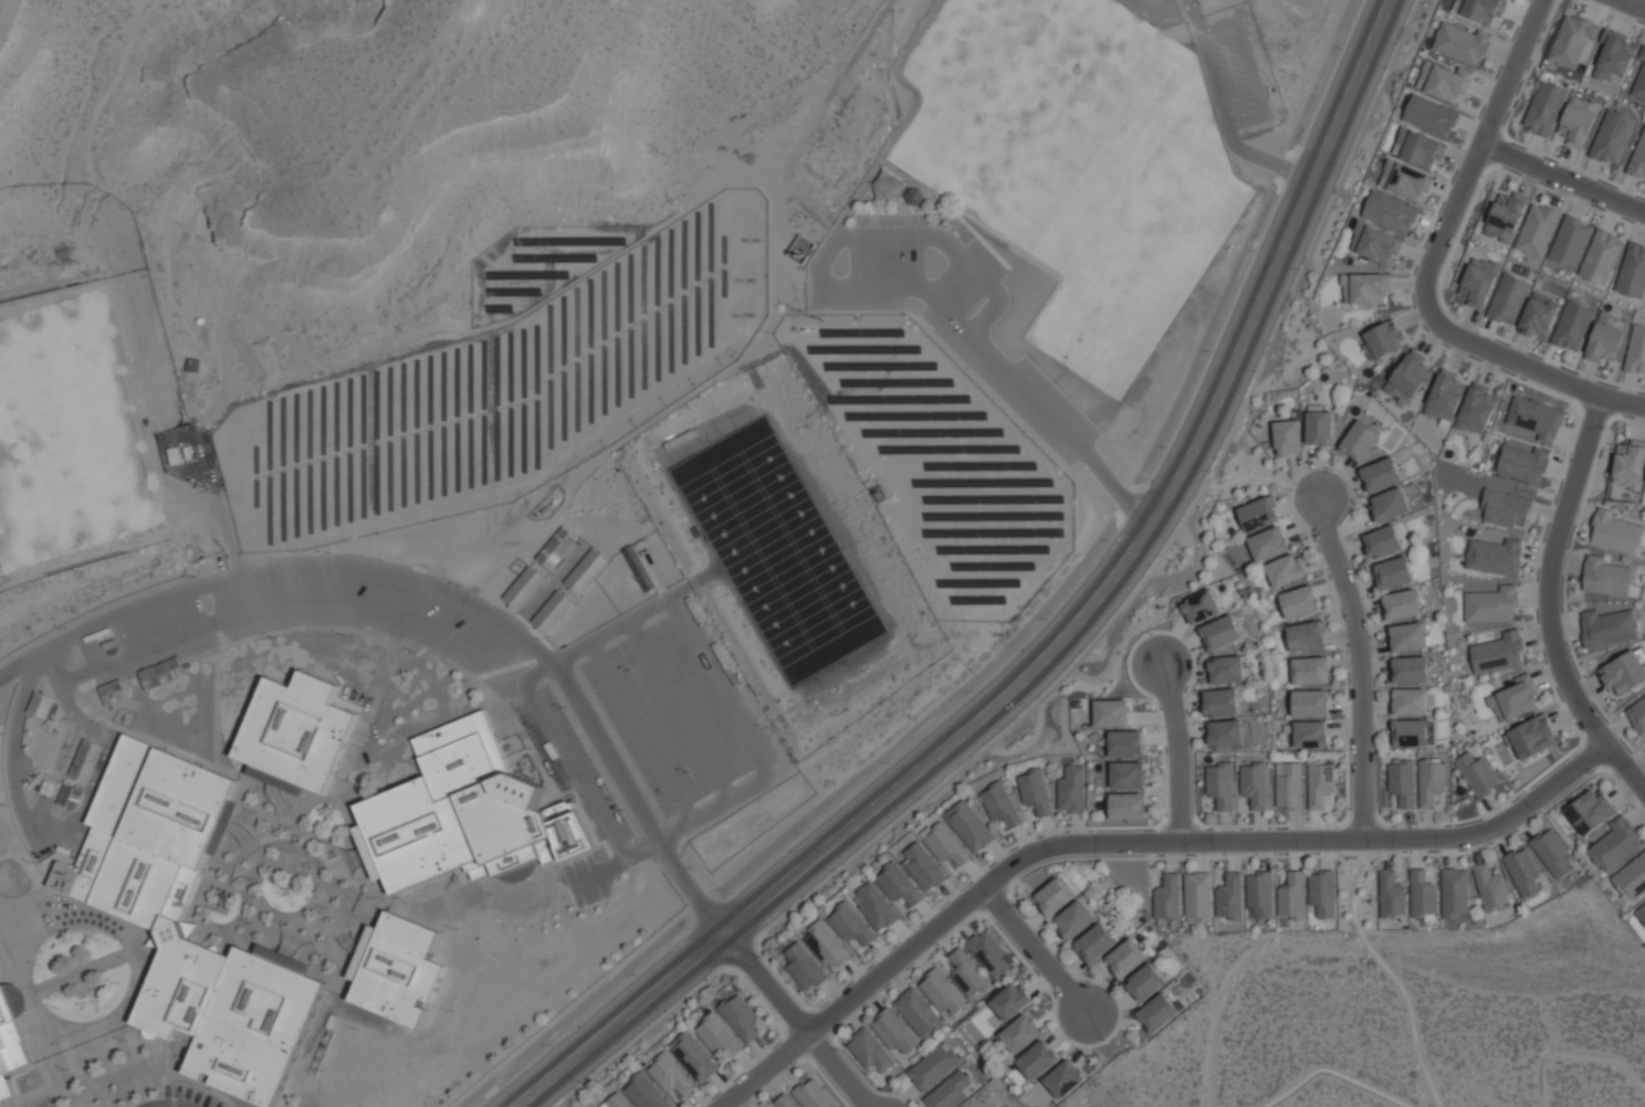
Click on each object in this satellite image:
road: (1636, 3)
building: (1482, 10)
building: (1571, 42)
building: (1460, 43)
building: (1613, 57)
parking lot: (1229, 73)
building: (1639, 78)
building: (1443, 81)
road: (1223, 104)
building: (1543, 108)
building: (1429, 116)
building: (1576, 122)
building: (1611, 137)
building: (1417, 148)
building: (1638, 157)
park: (1078, 164)
road: (1564, 179)
building: (1405, 180)
building: (884, 184)
building: (1389, 212)
building: (1506, 215)
building: (1537, 230)
building: (1570, 241)
road: (1442, 242)
building: (1374, 243)
building: (1600, 257)
solar farm: (537, 265)
building: (1632, 272)
building: (1478, 282)
road: (891, 288)
building: (1365, 288)
building: (1507, 298)
parking lot: (942, 305)
street lamp: (1415, 307)
building: (1539, 316)
building: (1571, 326)
building: (1384, 338)
building: (1604, 339)
building: (1635, 351)
building: (1408, 377)
solar farm: (499, 392)
building: (1445, 396)
road: (1623, 402)
building: (1477, 409)
building: (1536, 418)
street lamp: (1605, 426)
building: (1321, 428)
building: (1288, 436)
building: (1360, 441)
street lamp: (1167, 447)
solar farm: (935, 463)
building: (1524, 463)
building: (1630, 465)
street lamp: (1209, 472)
building: (1382, 474)
street lamp: (1291, 489)
building: (1391, 505)
building: (1507, 508)
building: (1259, 513)
building: (1616, 533)
street lamp: (1110, 540)
building: (1384, 541)
building: (1268, 544)
building: (555, 548)
park: (774, 549)
street lamp: (328, 551)
building: (1496, 556)
street lamp: (1151, 566)
building: (1287, 570)
building: (585, 571)
building: (1395, 572)
road: (1554, 573)
street lamp: (193, 577)
building: (1607, 577)
street lamp: (462, 584)
road: (432, 588)
building: (523, 588)
building: (1300, 601)
building: (1404, 604)
building: (1492, 604)
building: (1202, 607)
building: (552, 612)
road: (631, 616)
street lamp: (1048, 619)
street lamp: (710, 624)
street lamp: (64, 626)
building: (1609, 626)
building: (1220, 632)
street lamp: (1152, 633)
street lamp: (343, 634)
building: (1308, 635)
street lamp: (274, 636)
building: (1410, 636)
road: (1016, 640)
road: (1051, 641)
road: (1081, 644)
street lamp: (413, 652)
street lamp: (1082, 652)
building: (1499, 653)
street lamp: (1547, 663)
street lamp: (192, 664)
road: (1360, 665)
building: (1227, 668)
street lamp: (631, 670)
building: (1311, 670)
building: (1413, 670)
building: (1624, 672)
building: (161, 673)
street lamp: (465, 679)
street lamp: (128, 689)
building: (112, 692)
street lamp: (974, 692)
building: (1516, 698)
building: (1222, 702)
building: (1412, 702)
building: (1311, 703)
building: (40, 705)
street lamp: (565, 707)
road: (682, 710)
building: (1112, 713)
building: (1637, 715)
parking lot: (667, 718)
street lamp: (103, 723)
street lamp: (768, 727)
street lamp: (1005, 729)
road: (642, 731)
building: (1413, 732)
street lamp: (2, 734)
building: (295, 734)
building: (1226, 734)
building: (1311, 734)
building: (1533, 736)
building: (1127, 744)
building: (55, 747)
road: (1178, 752)
road: (566, 759)
building: (85, 761)
street lamp: (890, 762)
road: (1626, 767)
street lamp: (1592, 771)
street lamp: (690, 772)
building: (1129, 774)
building: (1478, 774)
road: (758, 778)
building: (1432, 781)
building: (1404, 782)
building: (1320, 783)
building: (1222, 784)
building: (1255, 784)
building: (1290, 786)
building: (1072, 789)
building: (1036, 791)
building: (70, 797)
parking lot: (581, 797)
street lamp: (922, 799)
street lamp: (7, 804)
building: (1002, 804)
building: (1129, 805)
street lamp: (1350, 809)
street lamp: (622, 810)
building: (1591, 811)
street lamp: (255, 812)
building: (468, 814)
street lamp: (1169, 814)
building: (971, 825)
street lamp: (291, 827)
road: (71, 832)
street lamp: (804, 834)
street lamp: (327, 842)
road: (1132, 842)
building: (1616, 844)
building: (947, 845)
building: (1553, 853)
street lamp: (32, 862)
street lamp: (557, 866)
building: (924, 866)
street lamp: (690, 867)
street lamp: (836, 871)
building: (1524, 872)
street lamp: (254, 878)
building: (1632, 878)
building: (899, 884)
building: (1491, 887)
building: (1455, 892)
street lamp: (491, 893)
building: (1323, 893)
street lamp: (732, 894)
building: (1423, 894)
street lamp: (287, 895)
building: (1055, 895)
building: (1260, 895)
building: (1392, 895)
building: (1198, 896)
building: (1292, 896)
street lamp: (12, 897)
street lamp: (373, 897)
building: (1169, 897)
building: (1230, 897)
street lamp: (1013, 904)
building: (877, 906)
street lamp: (326, 907)
street lamp: (216, 908)
building: (149, 913)
building: (1641, 913)
building: (1076, 919)
street lamp: (251, 922)
building: (851, 924)
street lamp: (457, 928)
street lamp: (99, 939)
building: (1094, 943)
building: (828, 945)
road: (1036, 951)
building: (988, 952)
street lamp: (325, 955)
street lamp: (759, 956)
building: (1127, 958)
street lamp: (38, 963)
building: (805, 967)
building: (397, 969)
building: (968, 973)
street lamp: (636, 974)
road: (1394, 977)
street lamp: (117, 982)
building: (1146, 982)
building: (942, 991)
building: (1012, 1001)
street lamp: (57, 1008)
street lamp: (452, 1011)
street lamp: (667, 1012)
building: (919, 1012)
building: (1157, 1012)
building: (741, 1016)
road: (794, 1016)
park: (1404, 1016)
street lamp: (357, 1029)
building: (894, 1031)
building: (1021, 1033)
building: (719, 1034)
street lamp: (125, 1041)
street lamp: (1104, 1041)
street lamp: (552, 1045)
building: (11, 1047)
road: (1579, 1047)
street lamp: (837, 1048)
building: (870, 1051)
building: (694, 1056)
building: (1038, 1059)
road: (1337, 1061)
building: (934, 1066)
street lamp: (67, 1069)
street lamp: (322, 1071)
building: (671, 1075)
building: (1065, 1078)
building: (950, 1092)
building: (646, 1093)
parking lot: (192, 1095)
building: (813, 1095)
park: (994, 1098)
building: (616, 1101)
building: (785, 1101)
road: (166, 1105)

